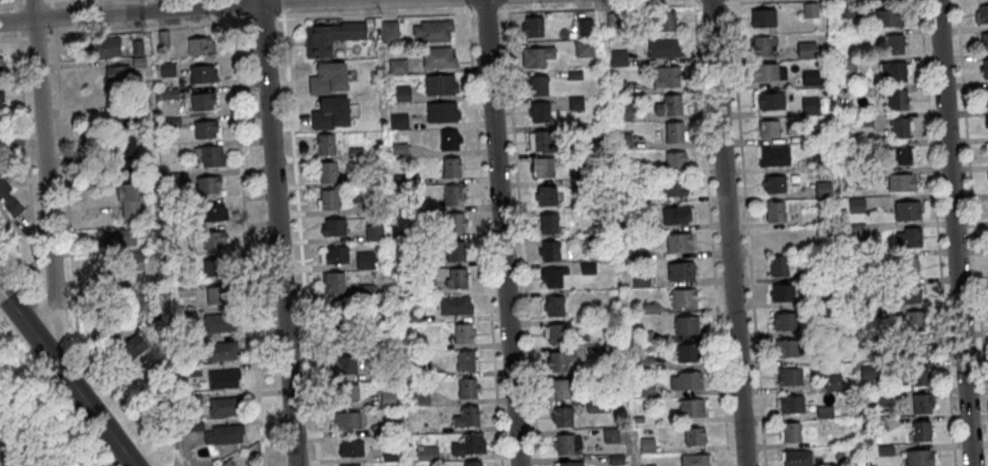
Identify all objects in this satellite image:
road: (14, 0)
road: (25, 0)
road: (710, 0)
road: (726, 0)
road: (7, 1)
road: (692, 1)
road: (464, 2)
road: (502, 2)
road: (695, 2)
road: (51, 3)
road: (648, 4)
road: (15, 5)
road: (281, 5)
road: (166, 6)
road: (228, 6)
road: (599, 6)
road: (545, 7)
road: (484, 10)
building: (807, 10)
building: (846, 10)
road: (374, 13)
building: (981, 14)
road: (52, 15)
road: (228, 17)
building: (761, 17)
building: (887, 17)
road: (262, 18)
road: (16, 19)
road: (239, 20)
building: (610, 20)
building: (665, 20)
building: (532, 26)
road: (141, 27)
building: (584, 27)
road: (52, 29)
building: (432, 31)
building: (388, 32)
road: (17, 33)
building: (570, 35)
road: (35, 36)
building: (329, 37)
road: (8, 38)
building: (162, 38)
building: (983, 41)
building: (761, 44)
building: (893, 44)
building: (199, 46)
building: (105, 47)
building: (136, 48)
building: (662, 48)
building: (834, 48)
building: (582, 49)
building: (805, 50)
building: (536, 56)
building: (436, 57)
building: (617, 58)
road: (603, 59)
building: (137, 63)
building: (1, 67)
building: (396, 67)
building: (845, 67)
building: (984, 68)
building: (166, 69)
building: (762, 71)
building: (891, 71)
building: (116, 72)
building: (200, 73)
building: (573, 74)
building: (666, 76)
building: (327, 78)
building: (812, 78)
building: (537, 84)
building: (439, 85)
building: (618, 87)
building: (401, 94)
building: (166, 95)
building: (985, 95)
building: (1, 96)
building: (895, 99)
building: (768, 100)
building: (202, 101)
building: (574, 103)
building: (668, 105)
building: (808, 106)
building: (0, 108)
building: (539, 110)
building: (329, 112)
building: (441, 112)
building: (622, 113)
building: (126, 118)
building: (863, 120)
building: (986, 120)
building: (398, 121)
building: (172, 123)
building: (898, 127)
building: (768, 128)
building: (206, 129)
building: (674, 131)
building: (810, 134)
building: (544, 138)
building: (623, 139)
building: (448, 140)
building: (324, 144)
building: (125, 147)
building: (398, 150)
building: (986, 151)
building: (354, 153)
building: (208, 155)
building: (897, 155)
building: (773, 156)
building: (581, 158)
road: (26, 159)
building: (674, 160)
building: (819, 161)
building: (128, 167)
building: (450, 167)
building: (542, 167)
building: (624, 170)
building: (326, 171)
building: (572, 174)
building: (859, 176)
building: (176, 178)
building: (400, 180)
building: (900, 182)
road: (65, 183)
building: (774, 183)
road: (46, 184)
building: (207, 185)
building: (582, 186)
building: (673, 188)
building: (822, 189)
building: (453, 194)
building: (545, 195)
building: (8, 199)
building: (129, 200)
building: (327, 200)
building: (628, 200)
building: (855, 205)
building: (369, 209)
building: (773, 210)
building: (906, 210)
road: (971, 211)
building: (209, 212)
building: (674, 214)
building: (808, 217)
building: (455, 223)
building: (547, 223)
building: (635, 223)
building: (333, 227)
road: (747, 232)
building: (855, 232)
road: (276, 233)
building: (373, 233)
road: (500, 233)
road: (727, 233)
road: (936, 233)
road: (953, 233)
building: (399, 234)
road: (520, 234)
road: (710, 234)
road: (483, 235)
road: (299, 237)
building: (117, 238)
building: (778, 238)
building: (908, 238)
building: (213, 240)
building: (678, 242)
building: (160, 243)
road: (245, 243)
building: (454, 251)
building: (549, 251)
building: (631, 252)
building: (335, 253)
building: (364, 260)
building: (424, 260)
building: (869, 260)
building: (132, 262)
building: (214, 265)
building: (777, 265)
building: (907, 265)
building: (586, 268)
road: (27, 271)
building: (680, 271)
building: (807, 275)
building: (552, 276)
building: (457, 277)
building: (333, 280)
building: (639, 280)
building: (427, 285)
building: (365, 287)
building: (184, 288)
building: (782, 291)
building: (904, 292)
building: (219, 293)
building: (683, 296)
building: (818, 298)
building: (456, 304)
building: (555, 304)
building: (340, 307)
building: (651, 307)
building: (880, 311)
building: (188, 313)
building: (149, 315)
building: (413, 315)
building: (915, 318)
building: (634, 319)
building: (785, 319)
building: (220, 322)
building: (687, 323)
building: (823, 327)
building: (464, 331)
building: (556, 331)
building: (646, 334)
building: (340, 335)
building: (377, 341)
building: (866, 342)
building: (131, 346)
building: (190, 346)
building: (786, 346)
building: (916, 346)
building: (221, 349)
building: (608, 350)
building: (688, 350)
building: (836, 354)
building: (561, 358)
building: (467, 359)
building: (646, 361)
building: (345, 363)
building: (192, 368)
building: (420, 368)
building: (377, 371)
building: (869, 371)
building: (790, 374)
building: (919, 374)
building: (224, 376)
road: (66, 378)
building: (687, 378)
building: (833, 381)
road: (121, 385)
building: (468, 385)
building: (561, 386)
building: (648, 387)
building: (347, 391)
building: (194, 396)
building: (420, 396)
building: (886, 396)
building: (388, 398)
building: (923, 401)
building: (791, 402)
building: (226, 403)
building: (599, 405)
building: (692, 405)
building: (825, 411)
building: (467, 414)
building: (563, 414)
building: (347, 418)
building: (640, 419)
building: (196, 423)
building: (390, 425)
building: (877, 425)
park: (30, 426)
building: (921, 428)
building: (791, 429)
building: (225, 432)
building: (612, 434)
building: (695, 434)
building: (469, 442)
building: (568, 442)
building: (648, 444)
building: (352, 446)
road: (633, 447)
building: (886, 449)
building: (428, 451)
building: (390, 452)
building: (919, 456)
building: (798, 457)
building: (617, 458)
building: (695, 458)
building: (473, 461)
building: (227, 462)
building: (569, 462)
building: (350, 464)
building: (649, 464)
building: (825, 464)

